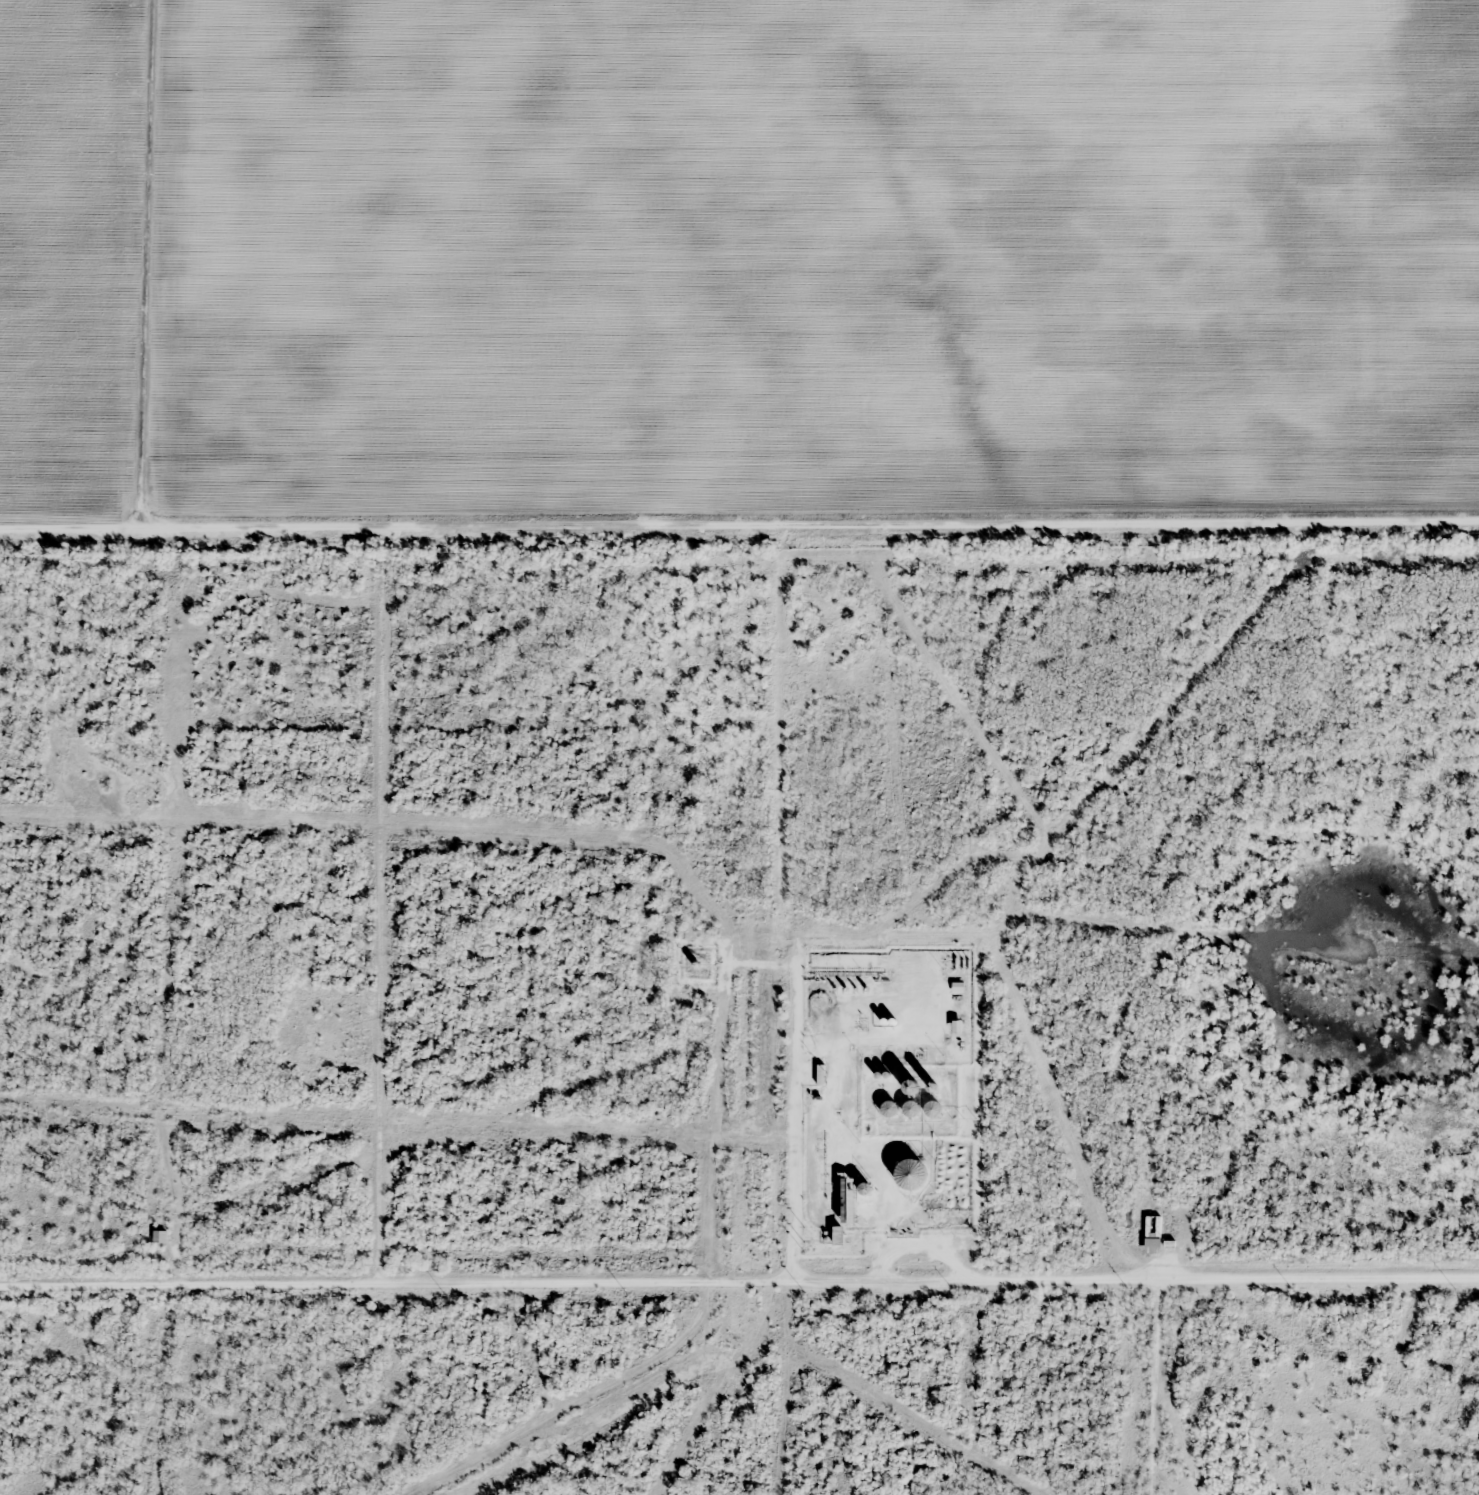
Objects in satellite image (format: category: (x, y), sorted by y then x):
road: (142, 257)
road: (739, 527)
road: (376, 908)
building: (957, 986)
building: (956, 1026)
building: (887, 1106)
building: (932, 1108)
building: (911, 1173)
building: (848, 1200)
building: (1152, 1233)
building: (839, 1234)
building: (159, 1235)
road: (739, 1282)

